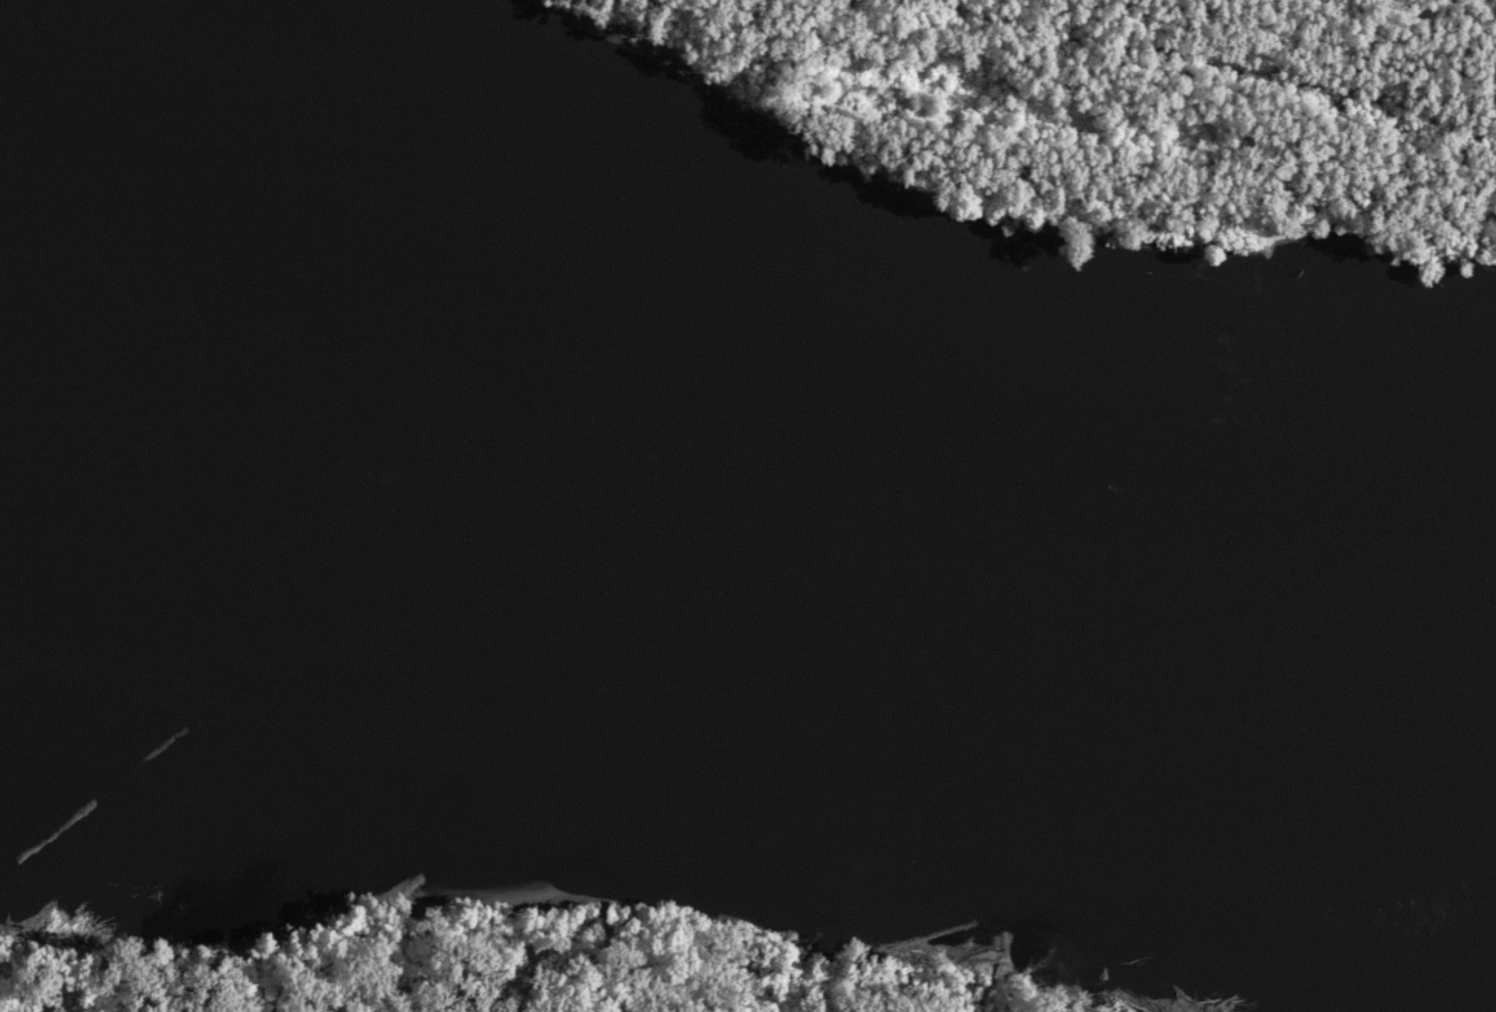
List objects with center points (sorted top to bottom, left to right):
river: (584, 287)
river: (733, 513)

